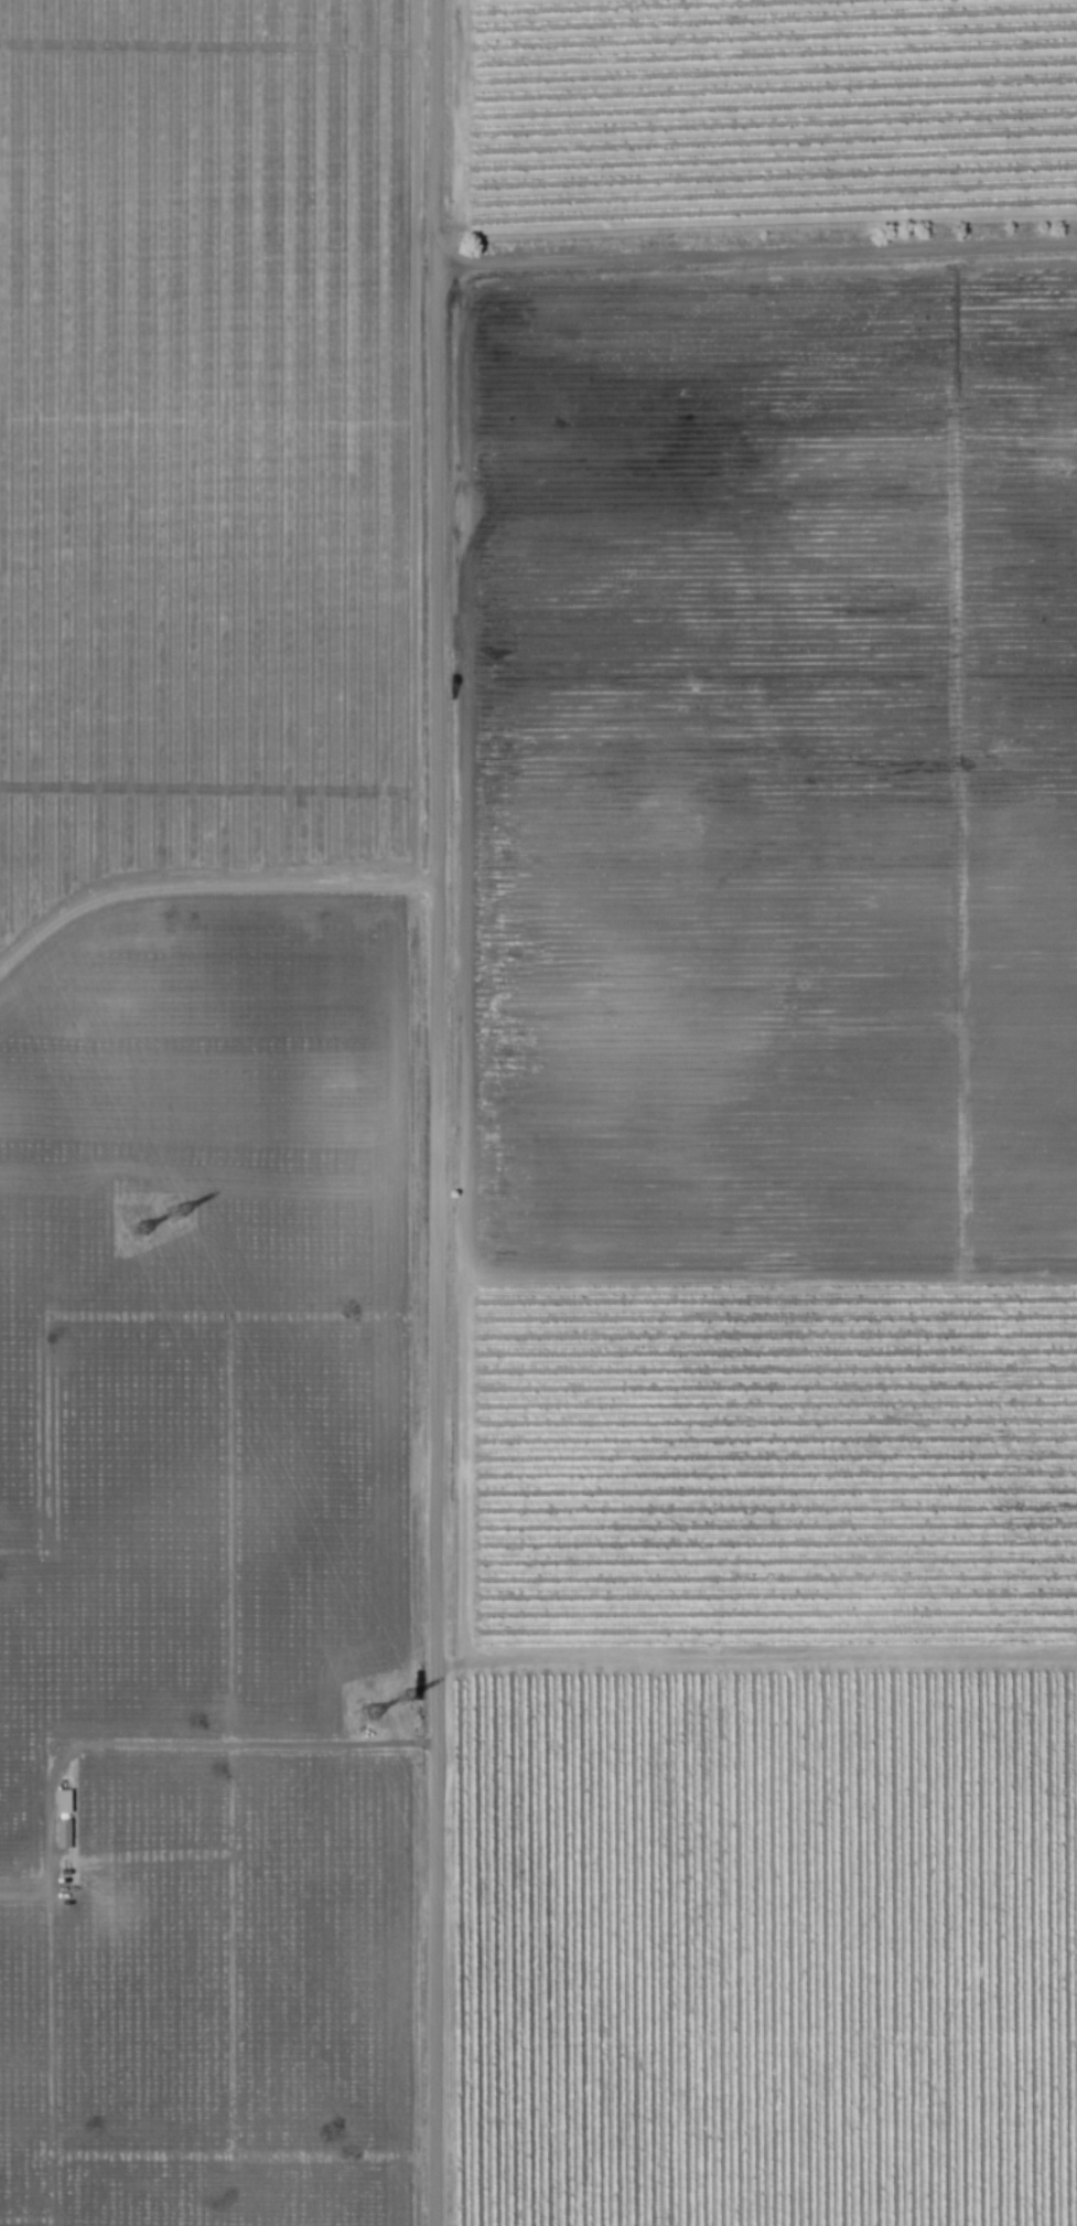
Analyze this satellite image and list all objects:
road: (761, 256)
road: (208, 889)
road: (442, 1113)
power tower: (171, 1212)
power tower: (131, 1231)
road: (758, 1661)
power tower: (397, 1699)
power tower: (358, 1716)
road: (154, 1746)
building: (65, 1829)

